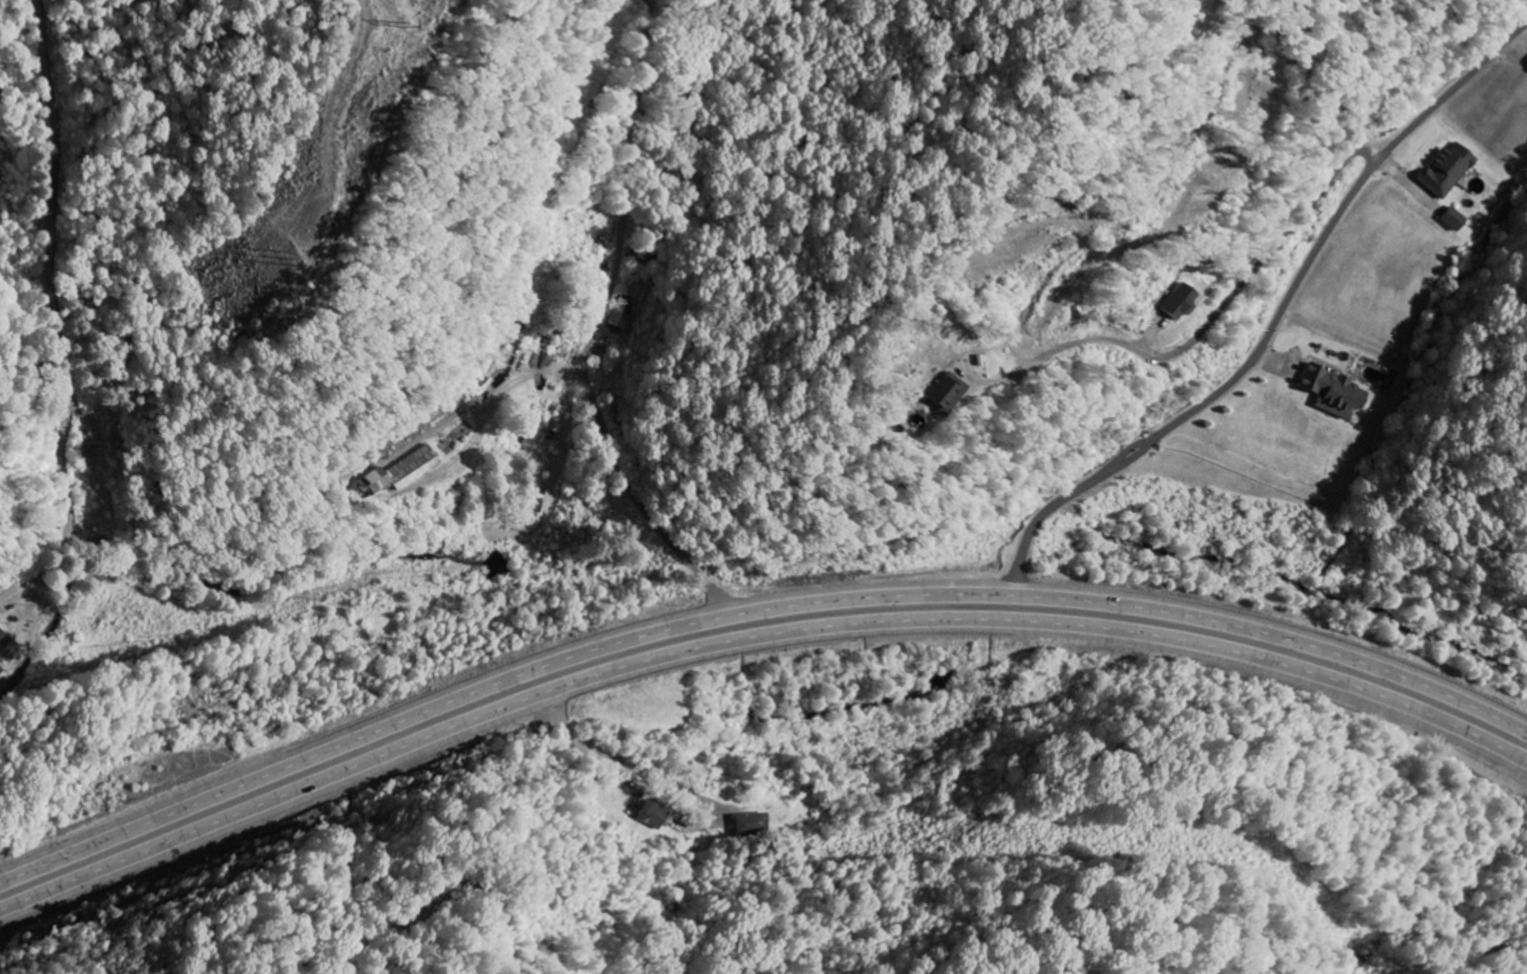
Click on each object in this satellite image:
building: (1447, 169)
building: (1453, 219)
building: (1180, 302)
building: (620, 314)
road: (594, 329)
building: (1332, 391)
building: (947, 392)
building: (401, 471)
road: (9, 595)
road: (751, 611)
road: (740, 633)
building: (3, 640)
road: (750, 651)
building: (652, 815)
building: (753, 824)
road: (1482, 953)

